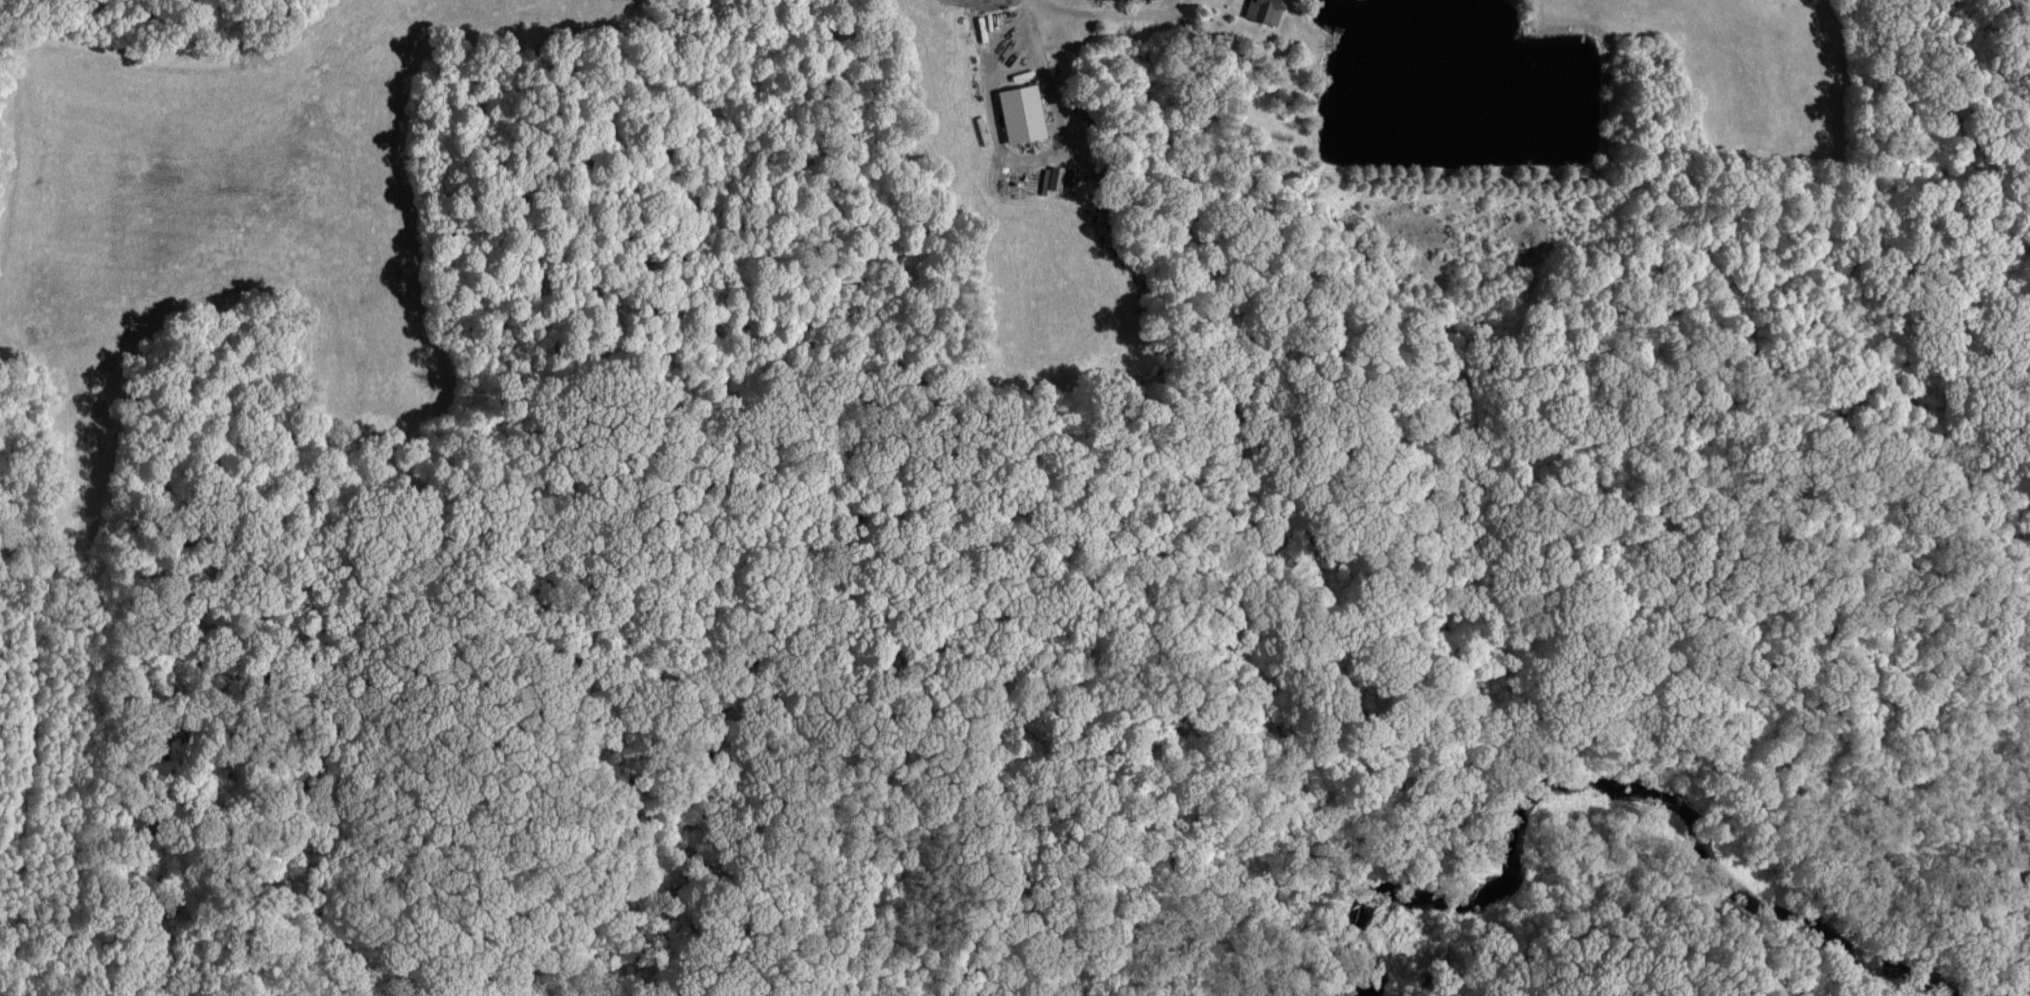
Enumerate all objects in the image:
building: (1259, 10)
road: (1042, 55)
building: (1015, 112)

